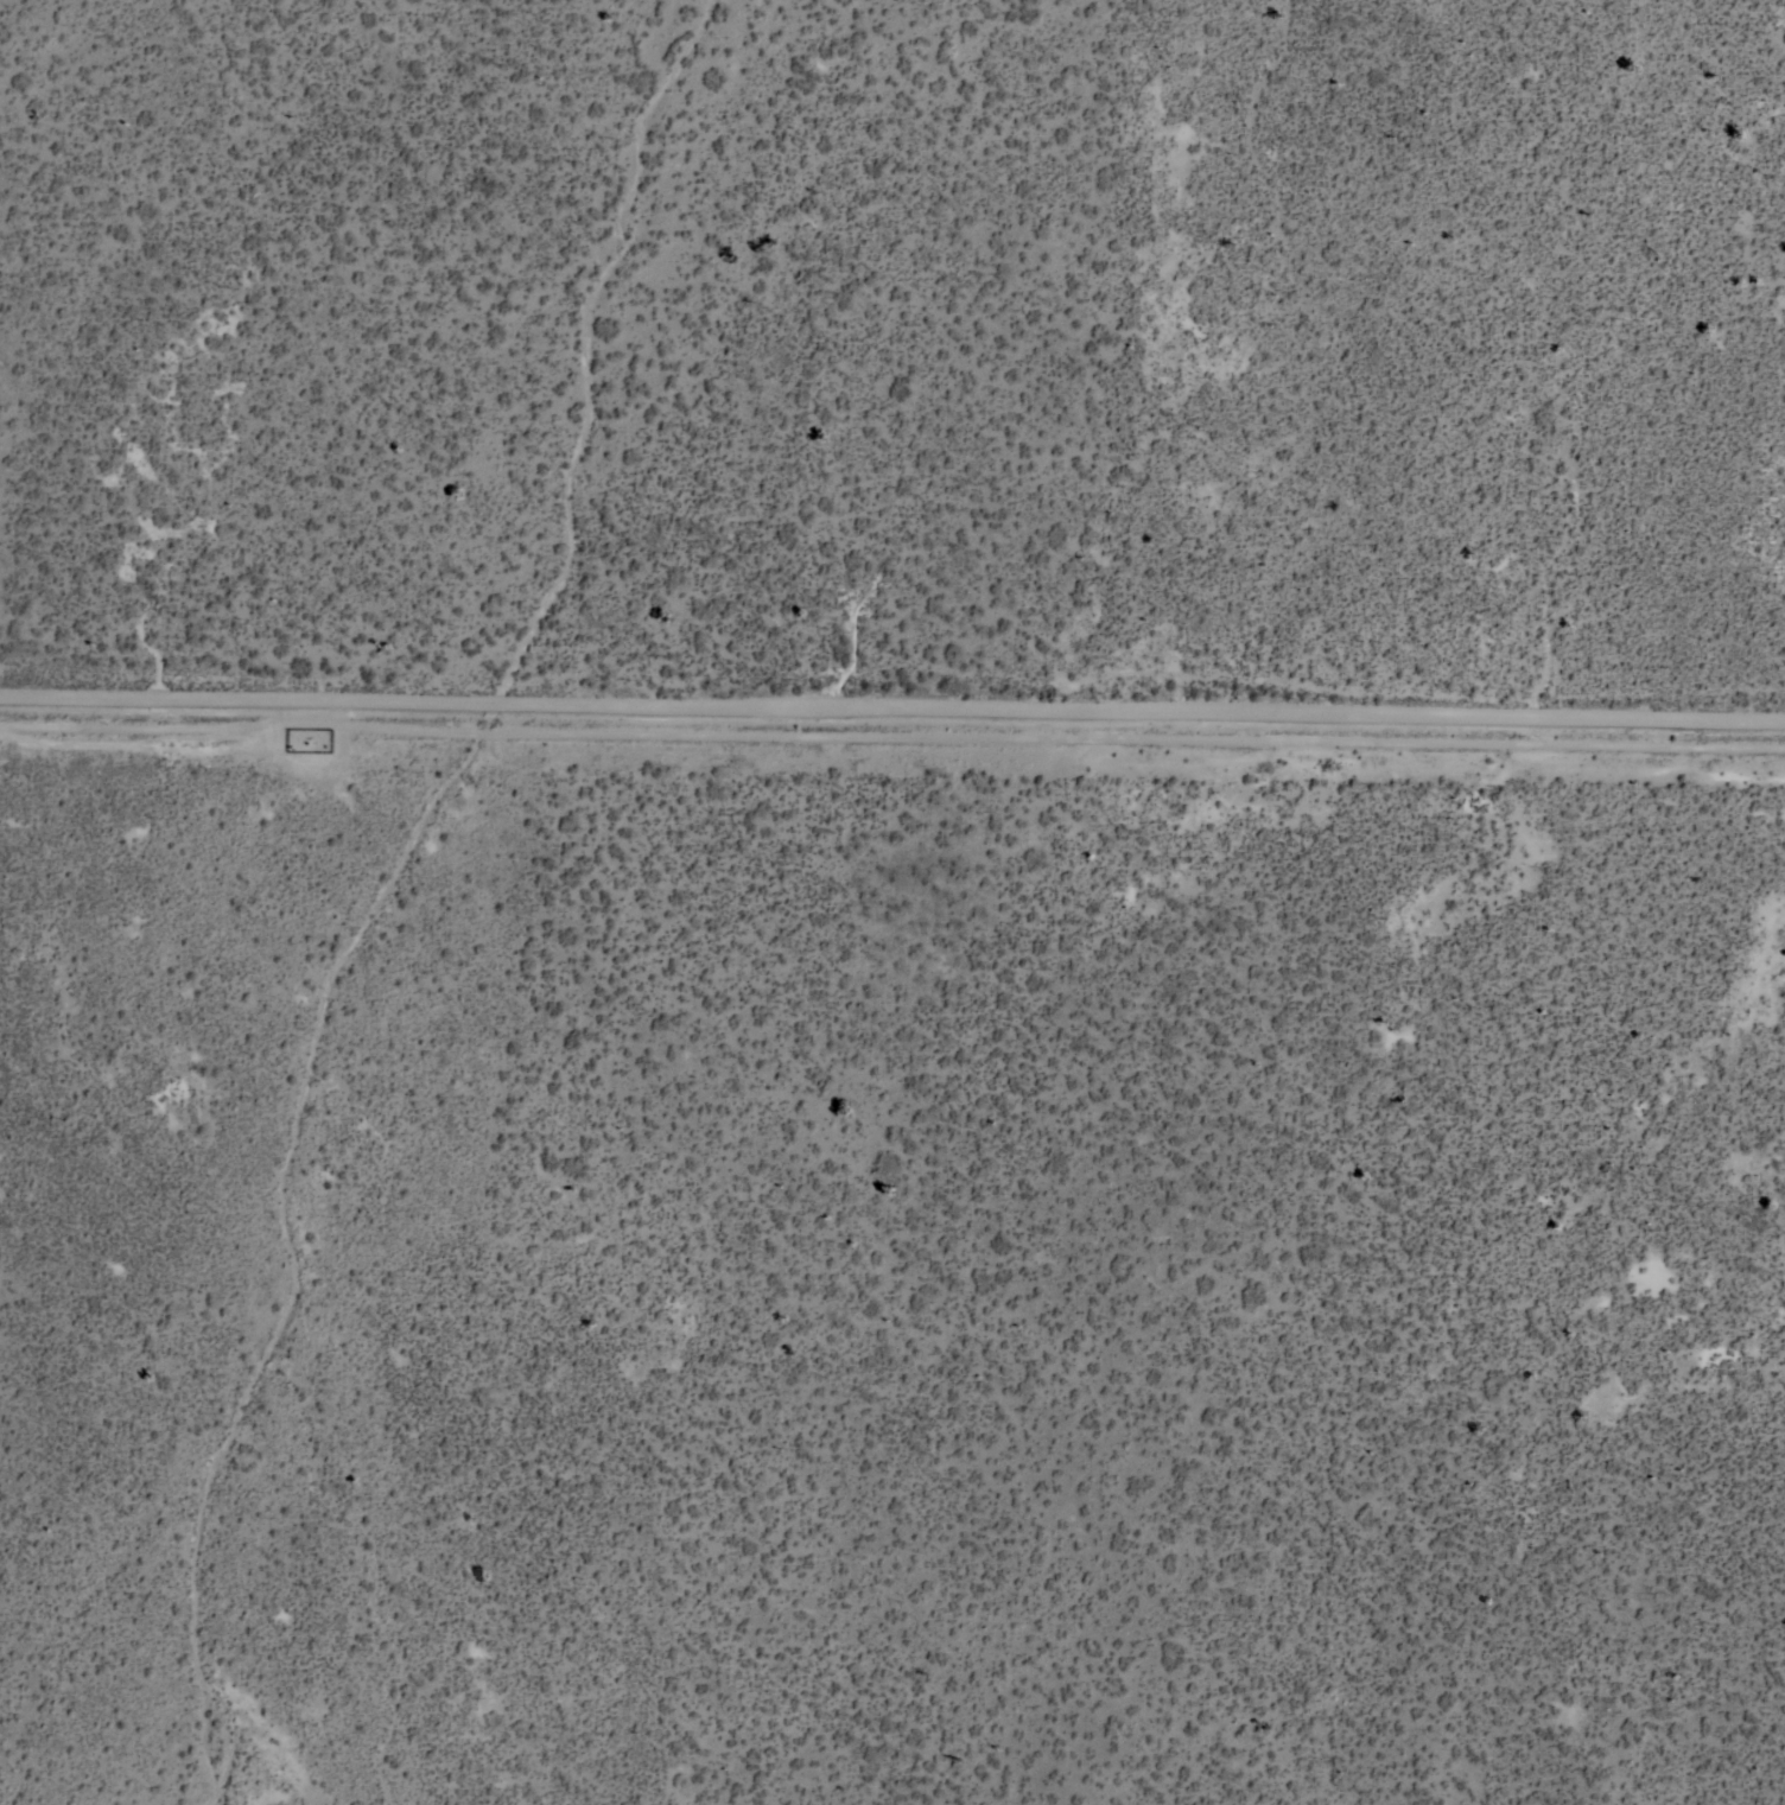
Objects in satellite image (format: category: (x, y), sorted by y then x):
road: (892, 722)

